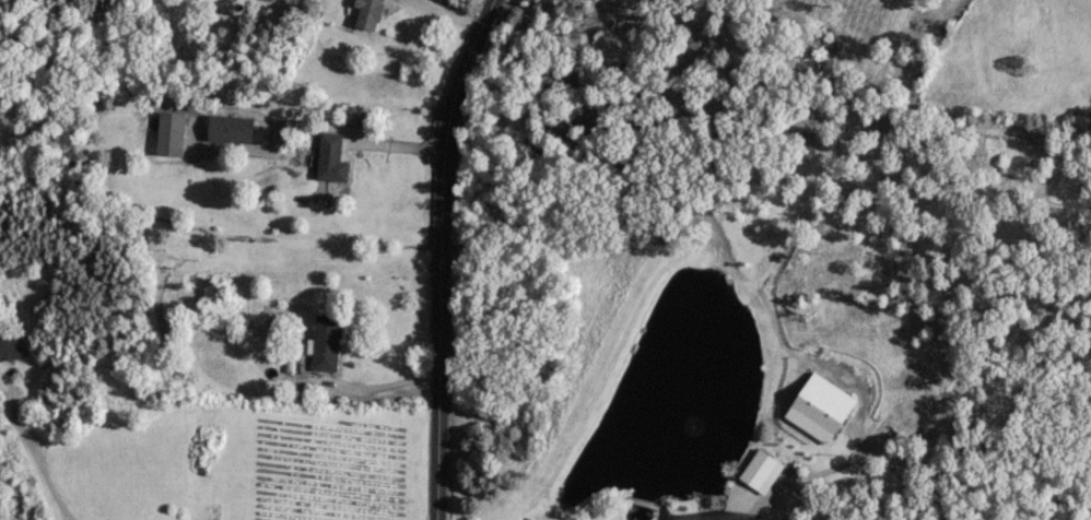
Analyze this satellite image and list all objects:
building: (365, 12)
building: (225, 127)
building: (166, 132)
building: (328, 156)
road: (437, 256)
building: (324, 341)
building: (9, 346)
road: (373, 385)
road: (27, 449)
building: (754, 466)
road: (799, 486)

